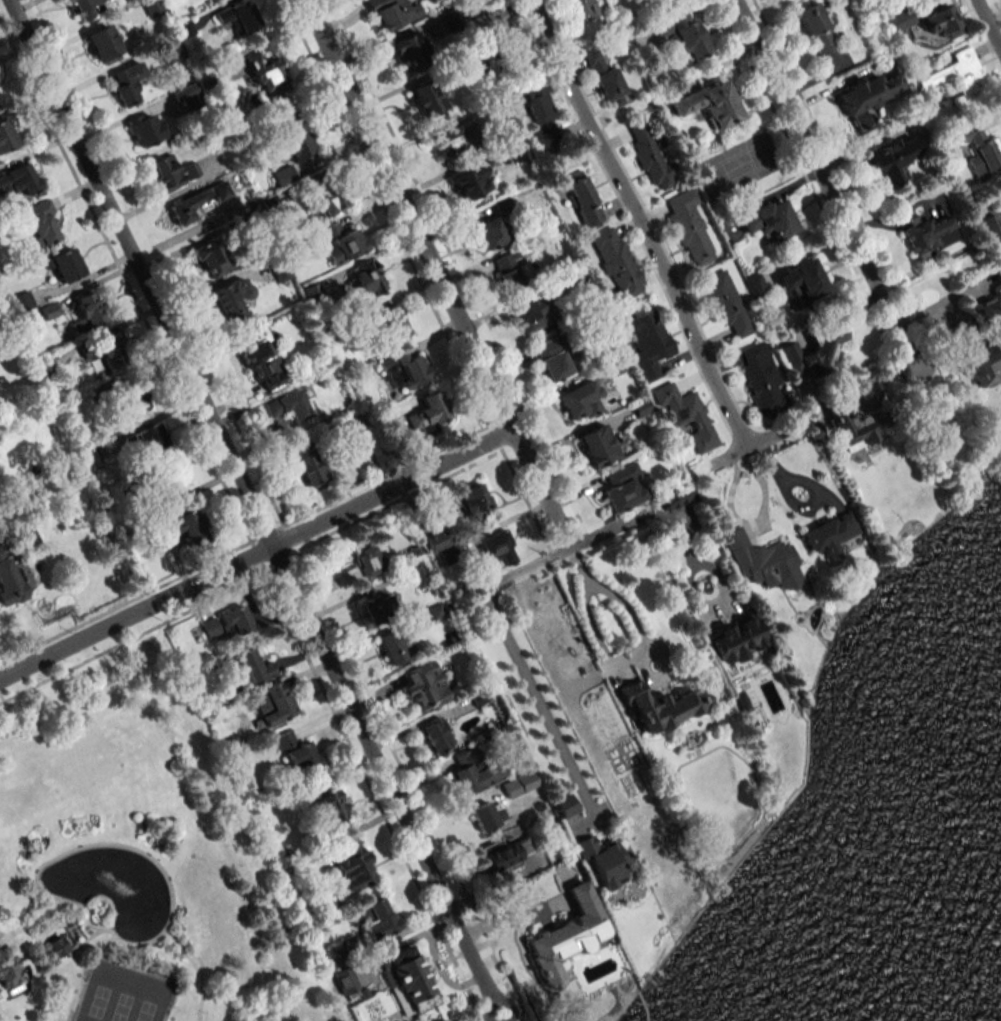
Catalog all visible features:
building: (479, 0)
road: (997, 7)
building: (84, 8)
building: (580, 8)
building: (392, 13)
building: (237, 17)
building: (938, 23)
road: (988, 24)
building: (499, 27)
building: (818, 28)
building: (682, 34)
building: (103, 45)
building: (171, 50)
building: (408, 52)
building: (266, 74)
building: (957, 76)
building: (605, 80)
building: (127, 84)
building: (189, 95)
building: (868, 96)
building: (426, 98)
building: (709, 103)
building: (0, 106)
building: (540, 114)
building: (146, 130)
building: (293, 135)
building: (6, 136)
building: (980, 149)
building: (649, 155)
building: (892, 161)
building: (165, 173)
building: (284, 176)
building: (17, 181)
building: (470, 182)
road: (824, 185)
building: (325, 196)
building: (584, 200)
building: (186, 208)
building: (768, 220)
building: (40, 223)
road: (643, 223)
building: (689, 227)
building: (491, 232)
building: (991, 232)
building: (929, 235)
building: (342, 242)
building: (212, 258)
building: (616, 262)
building: (65, 265)
building: (510, 269)
building: (279, 270)
road: (436, 274)
building: (367, 279)
building: (802, 281)
building: (755, 286)
building: (314, 292)
building: (227, 300)
building: (21, 302)
building: (727, 305)
building: (49, 310)
building: (86, 313)
building: (533, 313)
building: (393, 321)
building: (647, 343)
building: (986, 344)
building: (813, 352)
building: (106, 353)
building: (261, 359)
building: (553, 359)
building: (405, 369)
building: (762, 379)
building: (129, 402)
building: (580, 402)
building: (292, 407)
building: (641, 407)
building: (427, 414)
building: (686, 415)
building: (853, 427)
building: (148, 439)
building: (597, 445)
road: (745, 451)
building: (307, 462)
building: (623, 488)
building: (675, 498)
building: (471, 505)
road: (253, 509)
building: (182, 527)
building: (829, 534)
building: (435, 540)
building: (496, 549)
road: (566, 549)
road: (255, 554)
building: (367, 559)
building: (763, 562)
building: (417, 573)
building: (8, 580)
building: (375, 608)
building: (235, 621)
building: (210, 627)
building: (734, 639)
building: (391, 647)
road: (610, 660)
building: (251, 667)
building: (423, 687)
road: (536, 700)
building: (273, 703)
building: (661, 707)
building: (435, 734)
building: (296, 753)
building: (472, 771)
building: (513, 785)
building: (564, 805)
building: (328, 809)
building: (486, 816)
road: (63, 852)
building: (506, 854)
park: (138, 859)
building: (601, 861)
building: (353, 864)
building: (376, 918)
road: (509, 918)
road: (30, 921)
road: (69, 927)
building: (565, 936)
road: (84, 940)
building: (56, 946)
building: (7, 969)
road: (195, 970)
building: (405, 978)
park: (123, 994)

